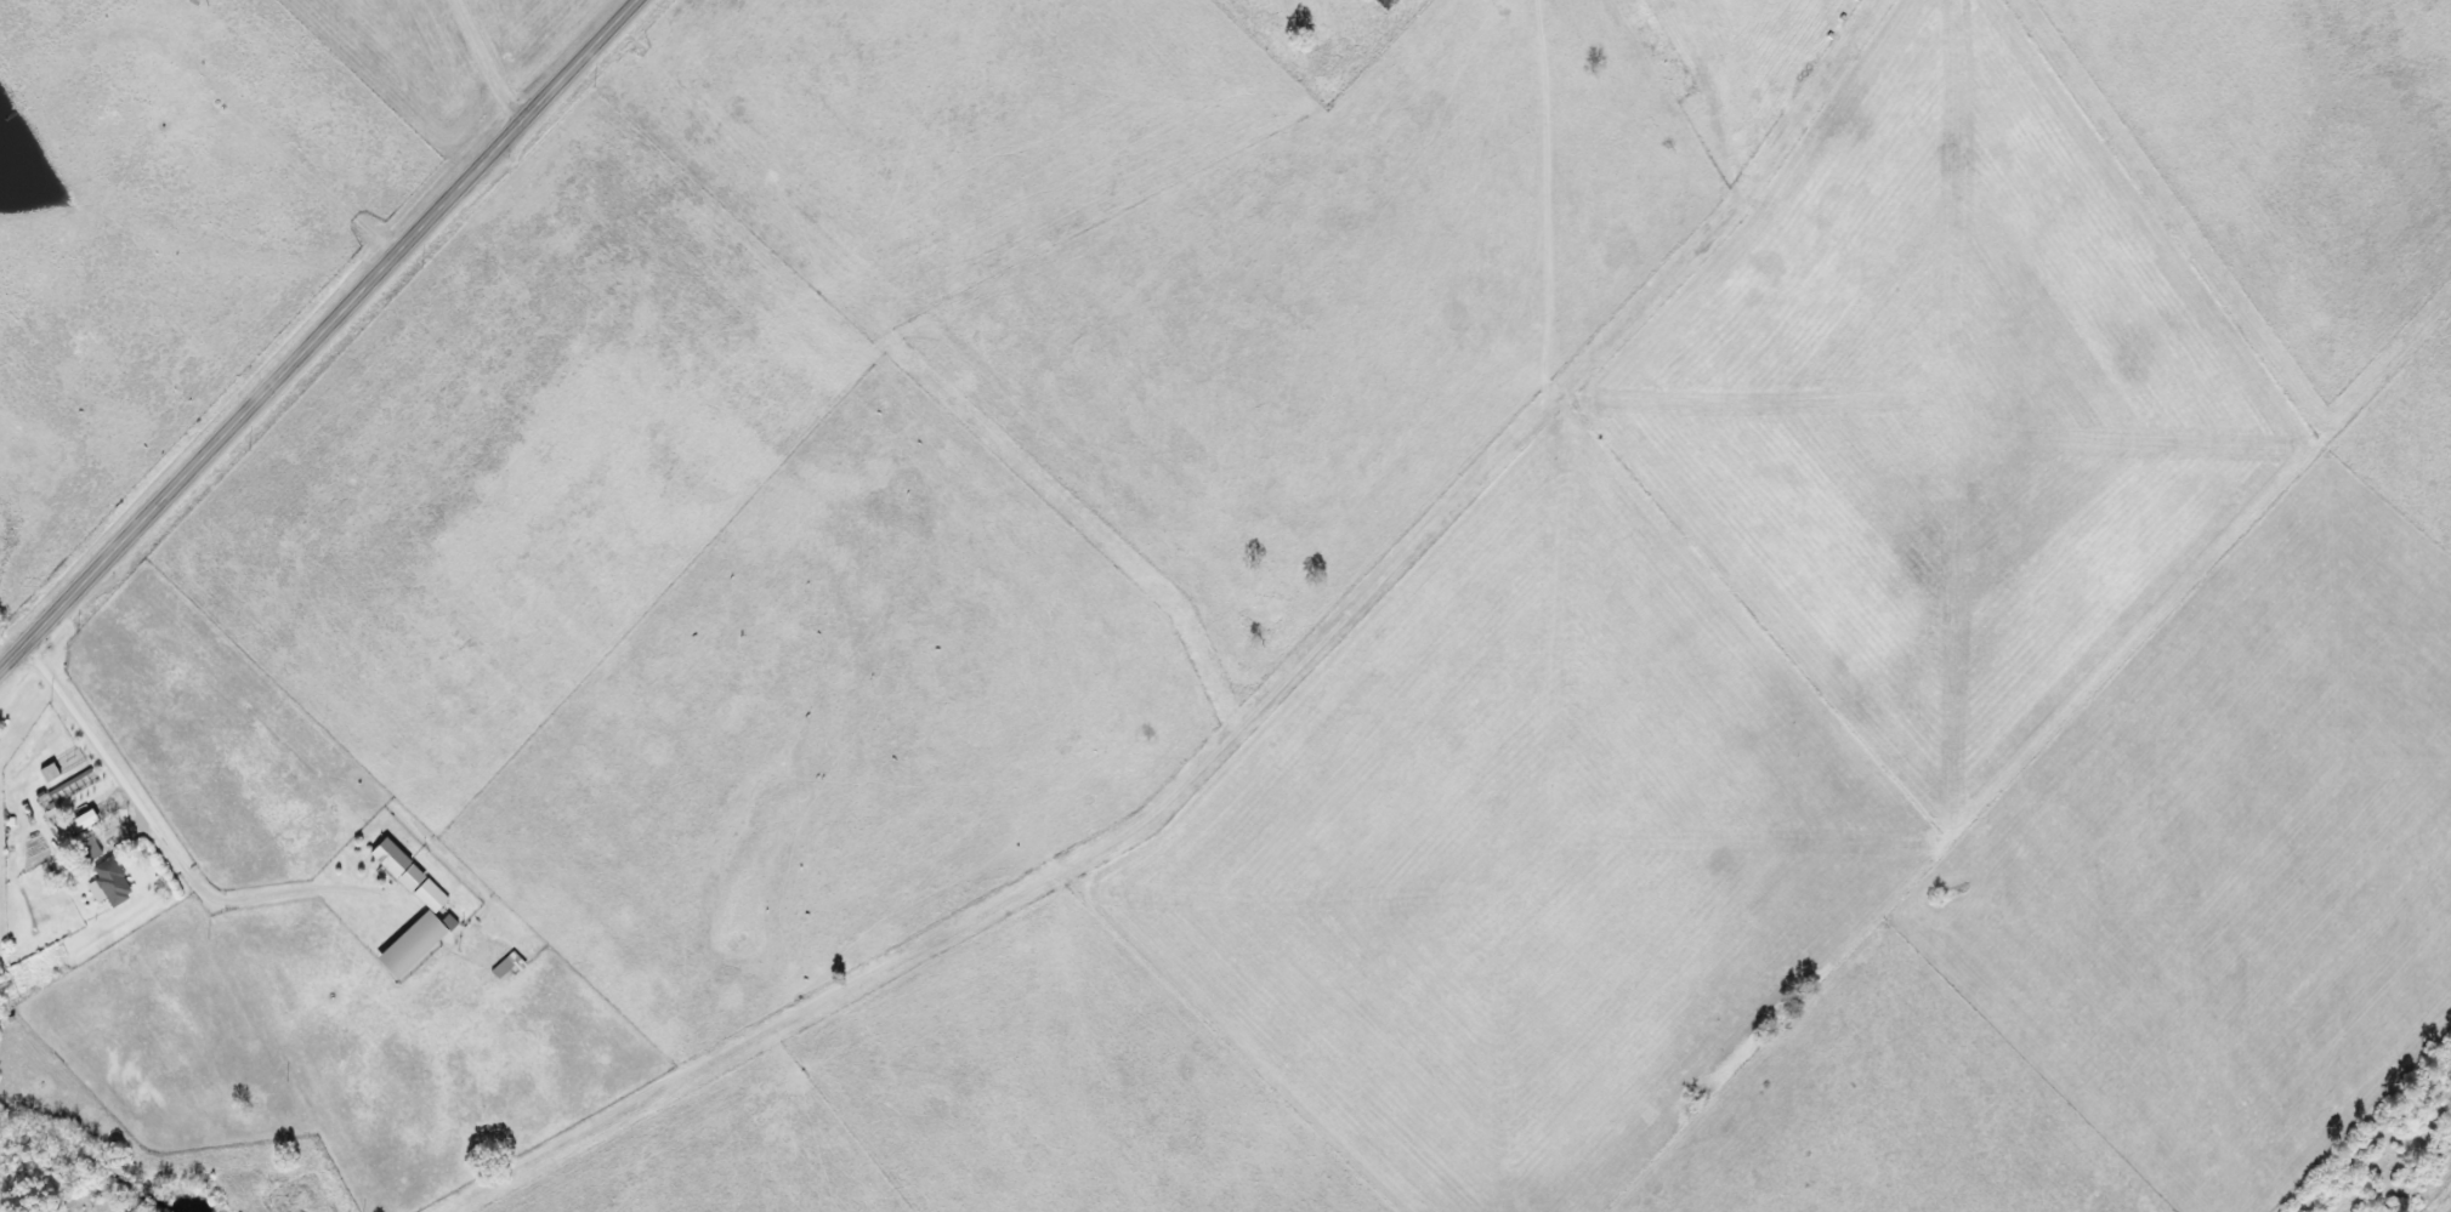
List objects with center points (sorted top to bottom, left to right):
road: (488, 62)
road: (317, 332)
road: (142, 823)
building: (85, 850)
building: (107, 882)
building: (413, 934)
building: (503, 967)

